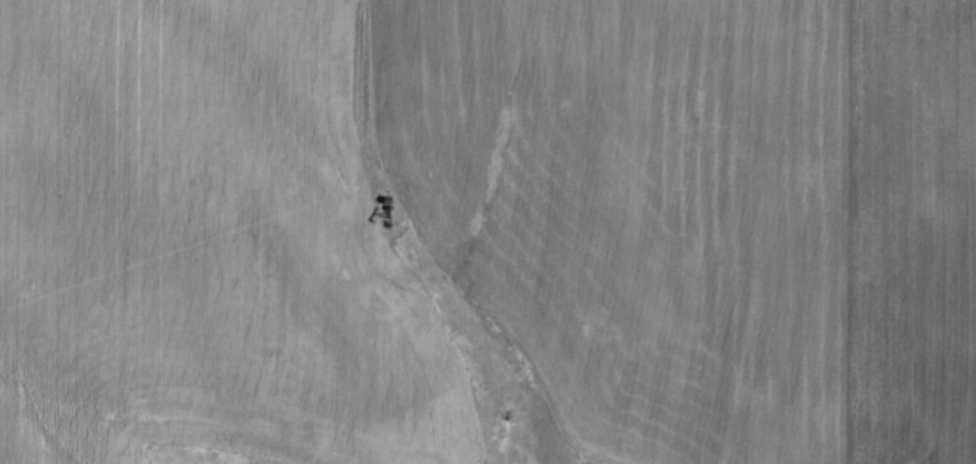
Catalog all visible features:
crop: (491, 225)

